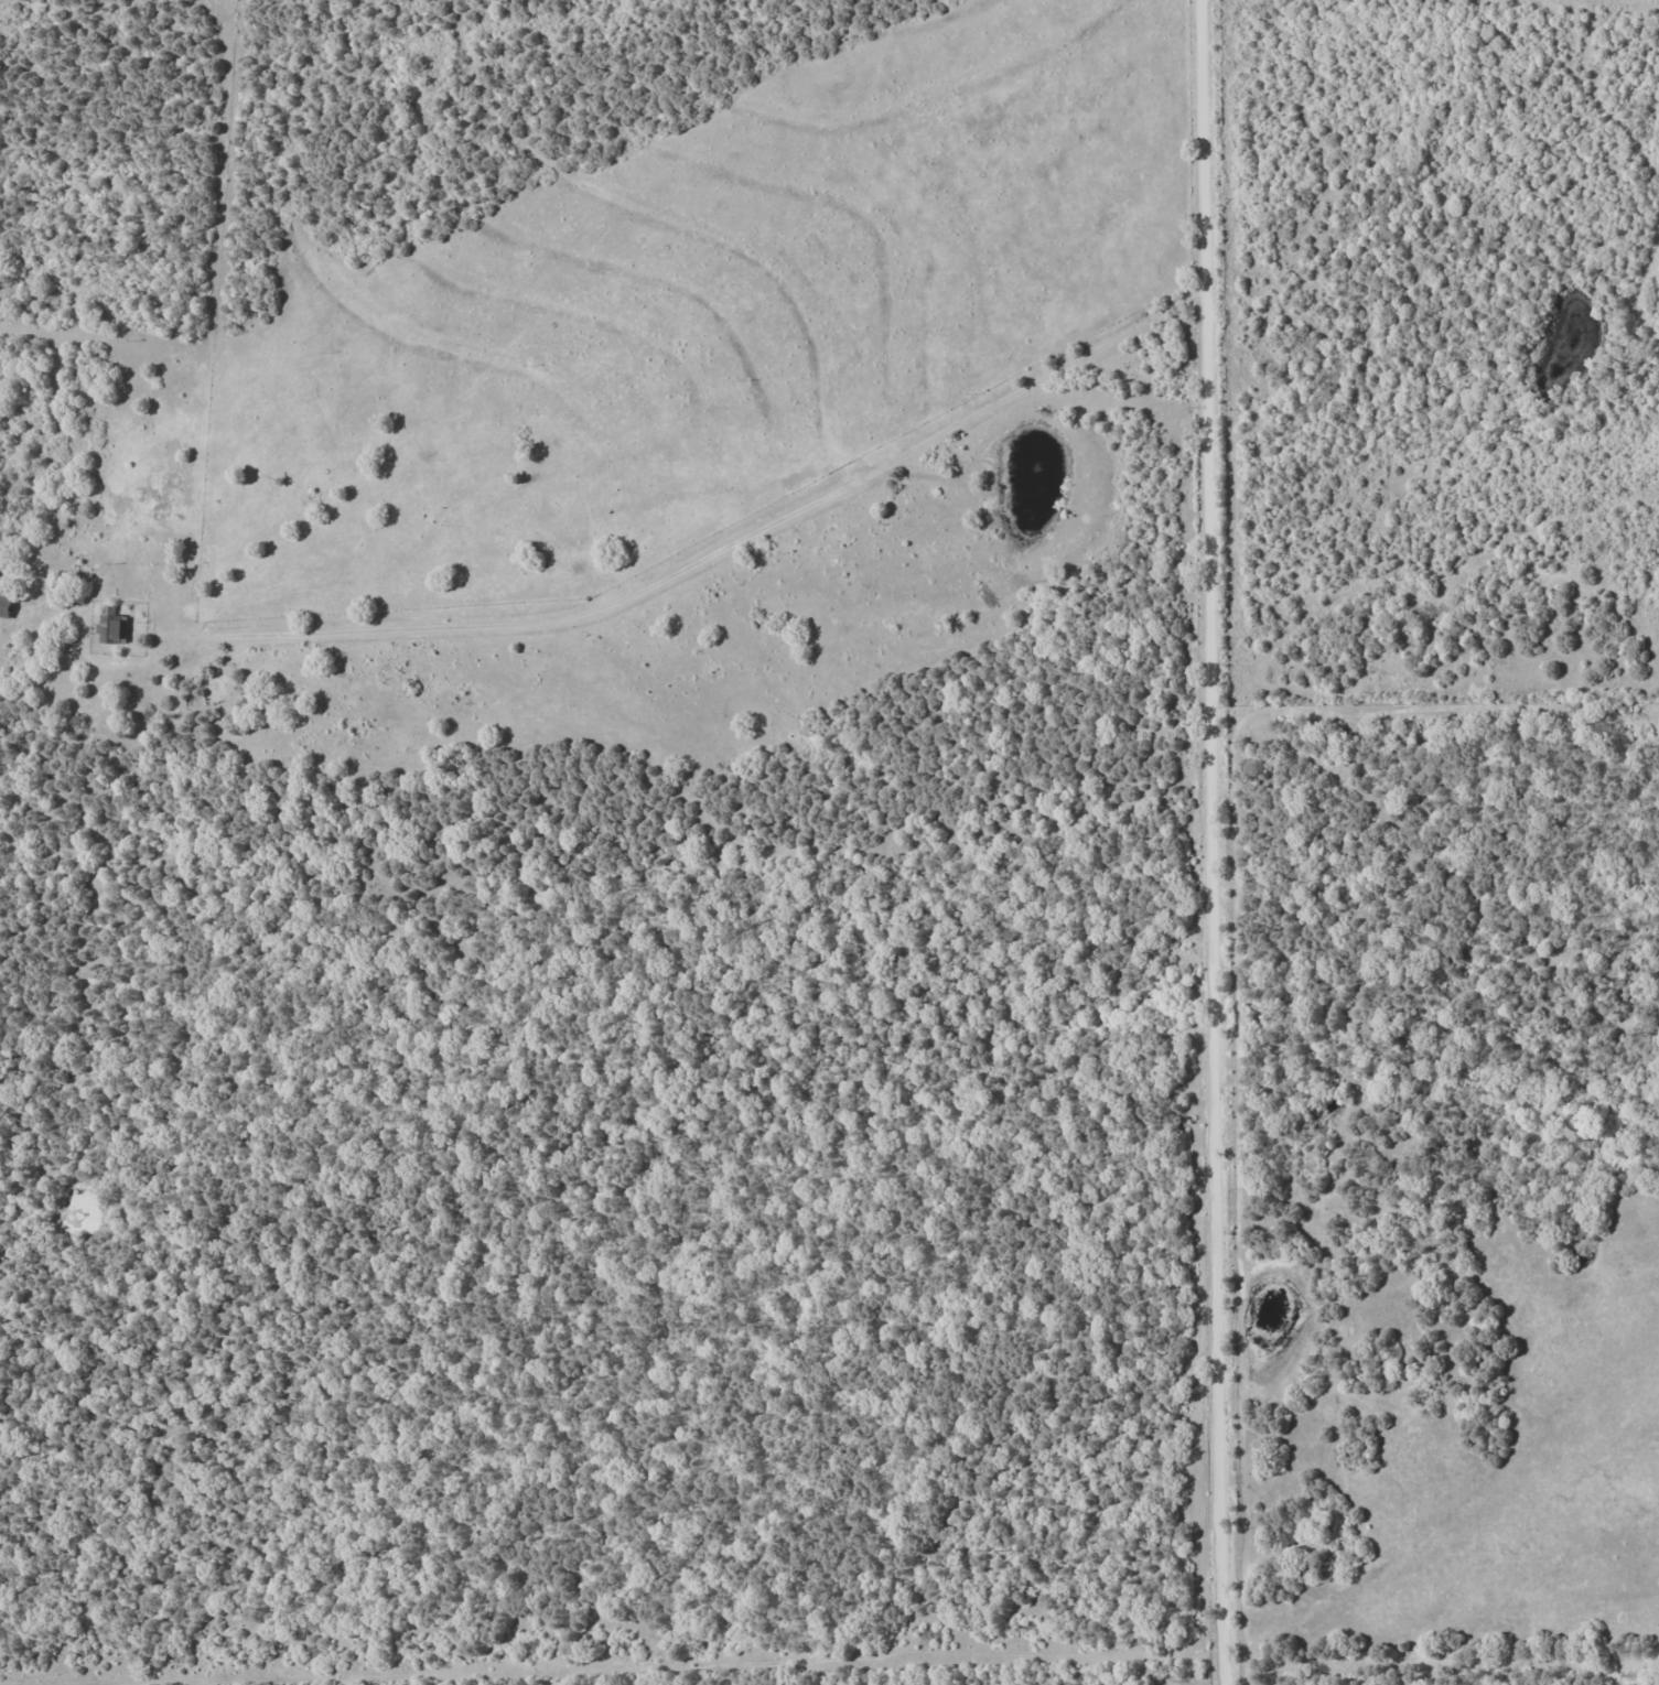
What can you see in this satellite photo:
building: (8, 604)
road: (1214, 842)

